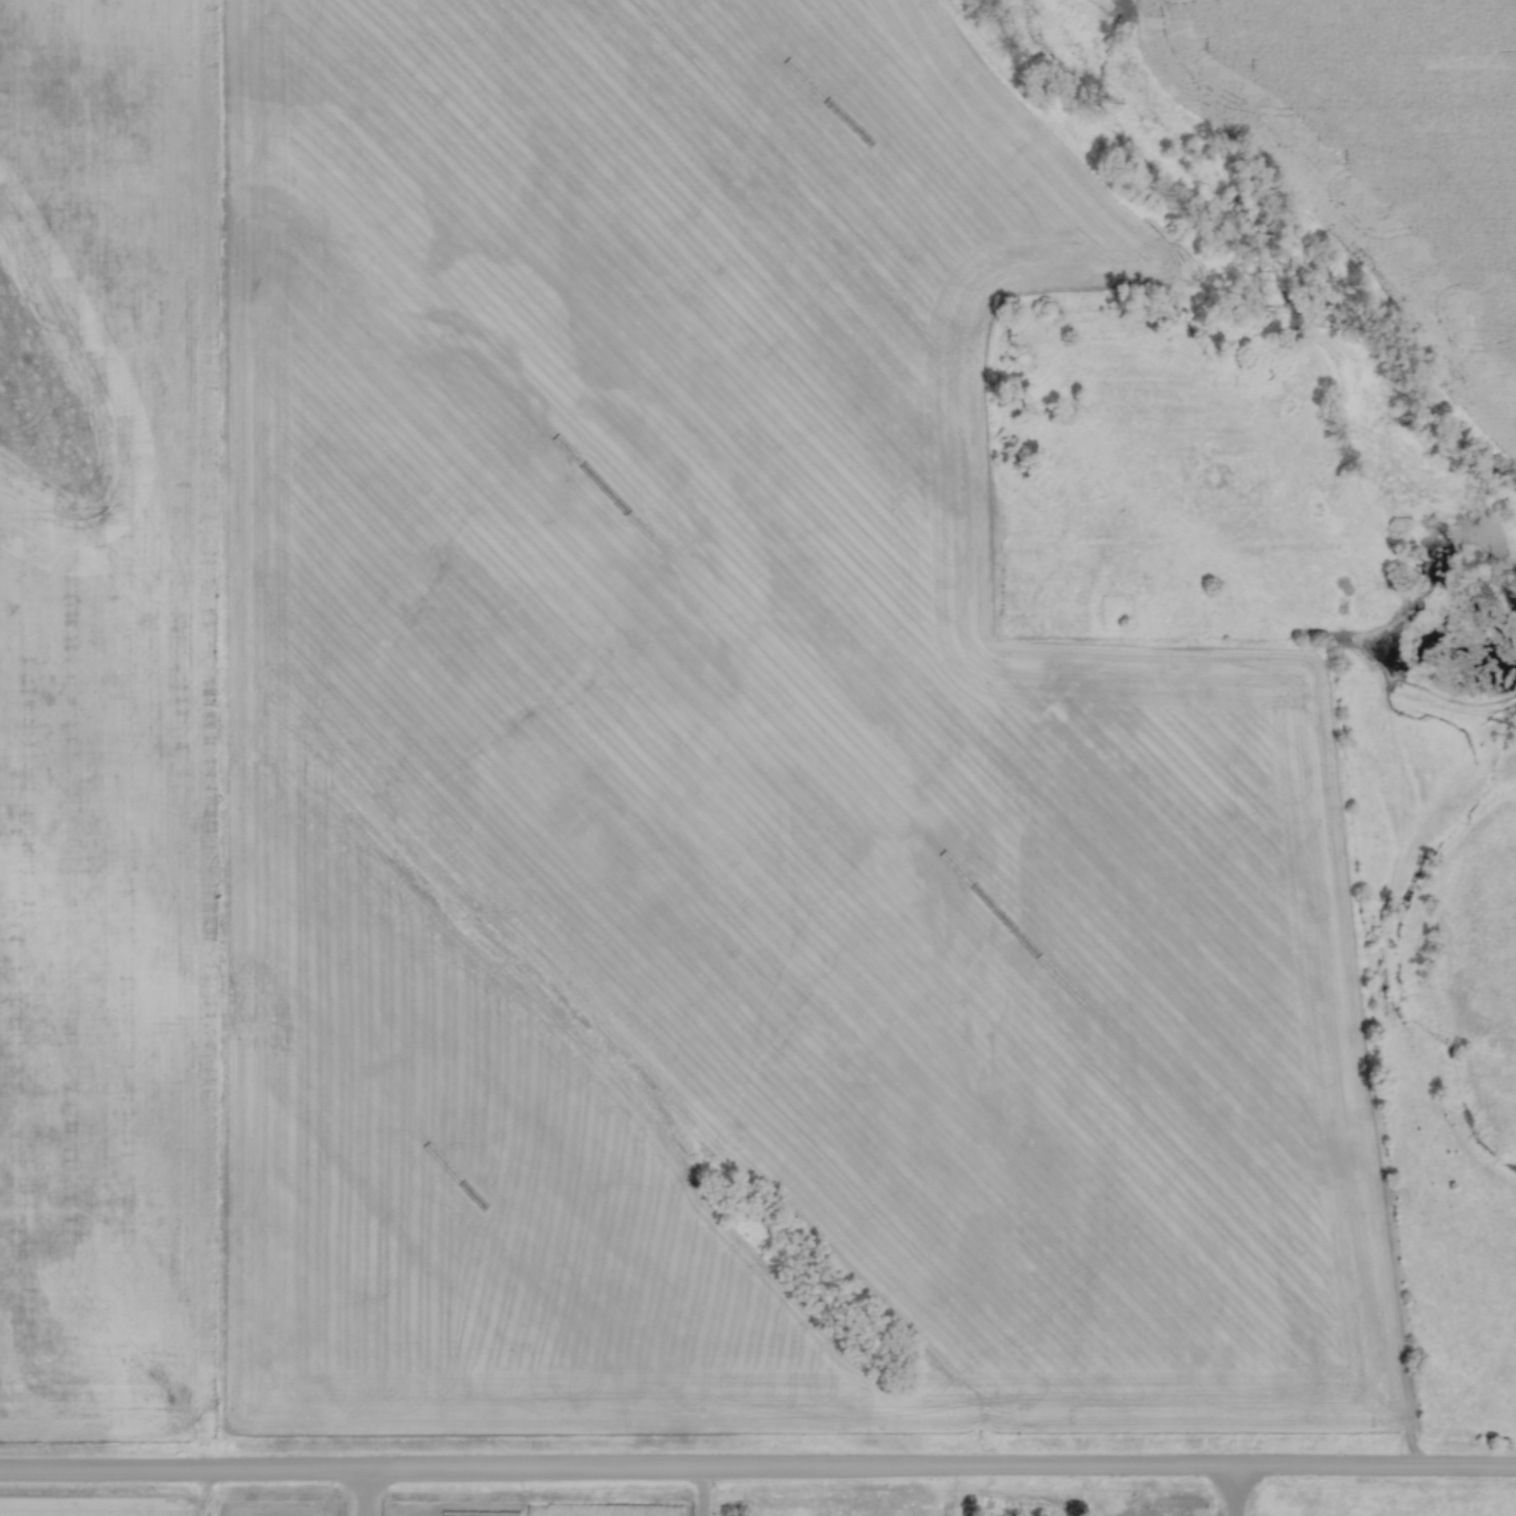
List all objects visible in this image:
road: (758, 1471)
road: (1236, 1493)

